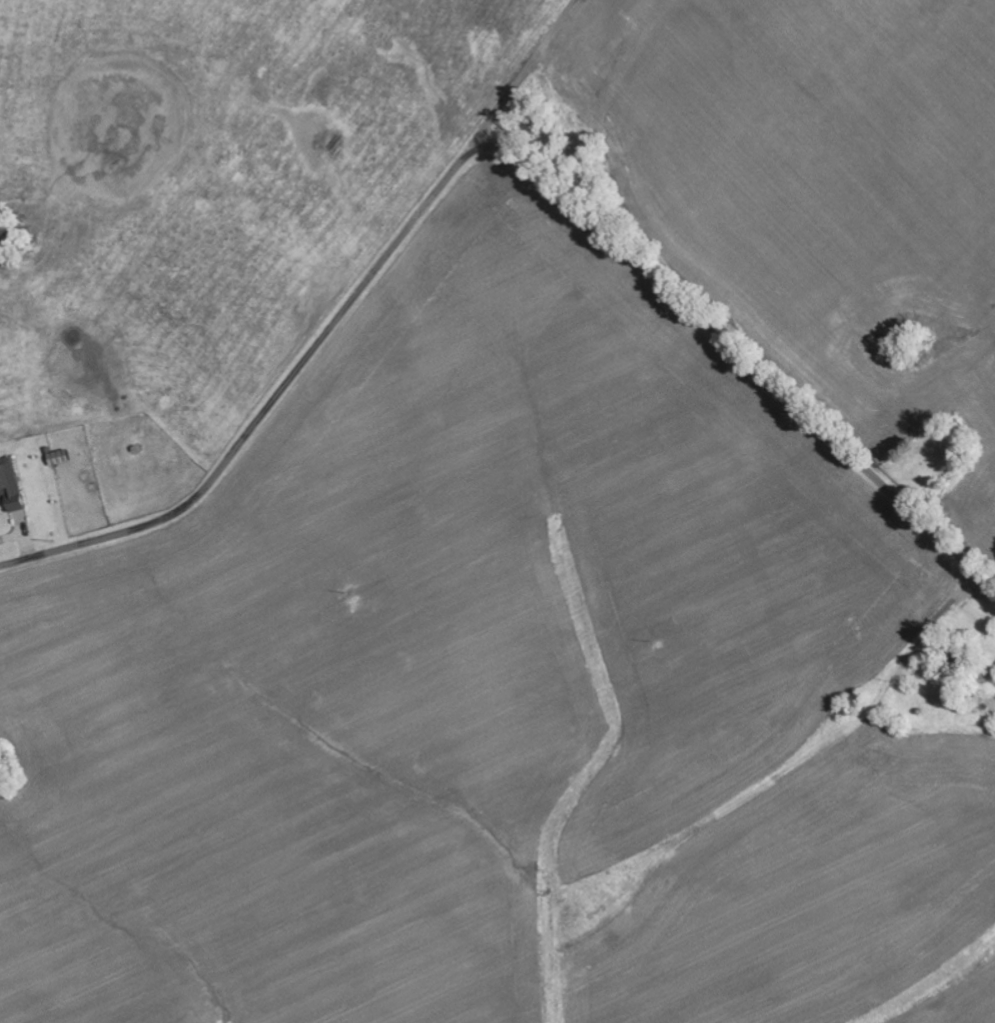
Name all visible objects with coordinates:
road: (492, 146)

